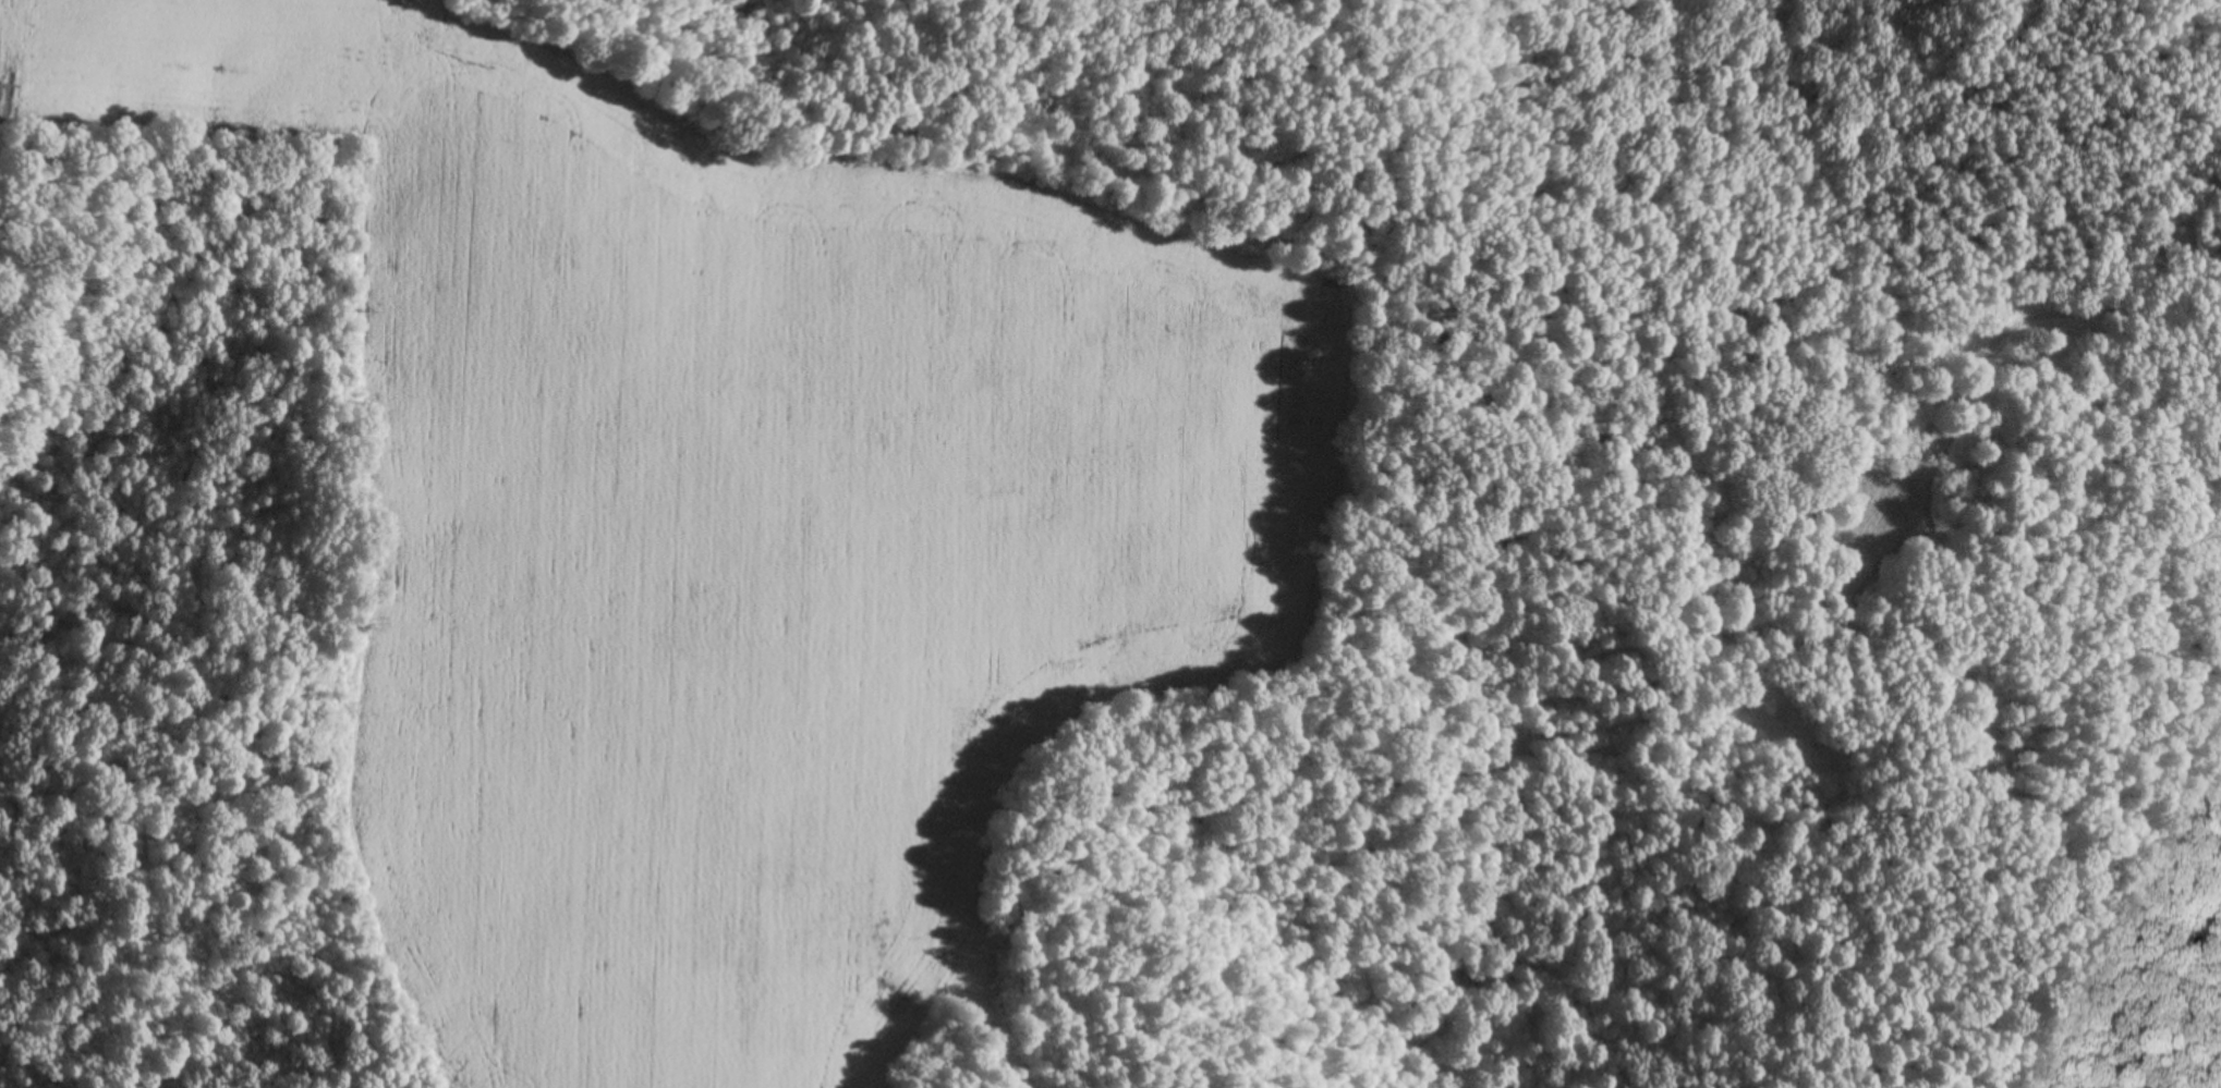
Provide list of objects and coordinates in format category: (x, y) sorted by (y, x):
crop: (730, 515)

